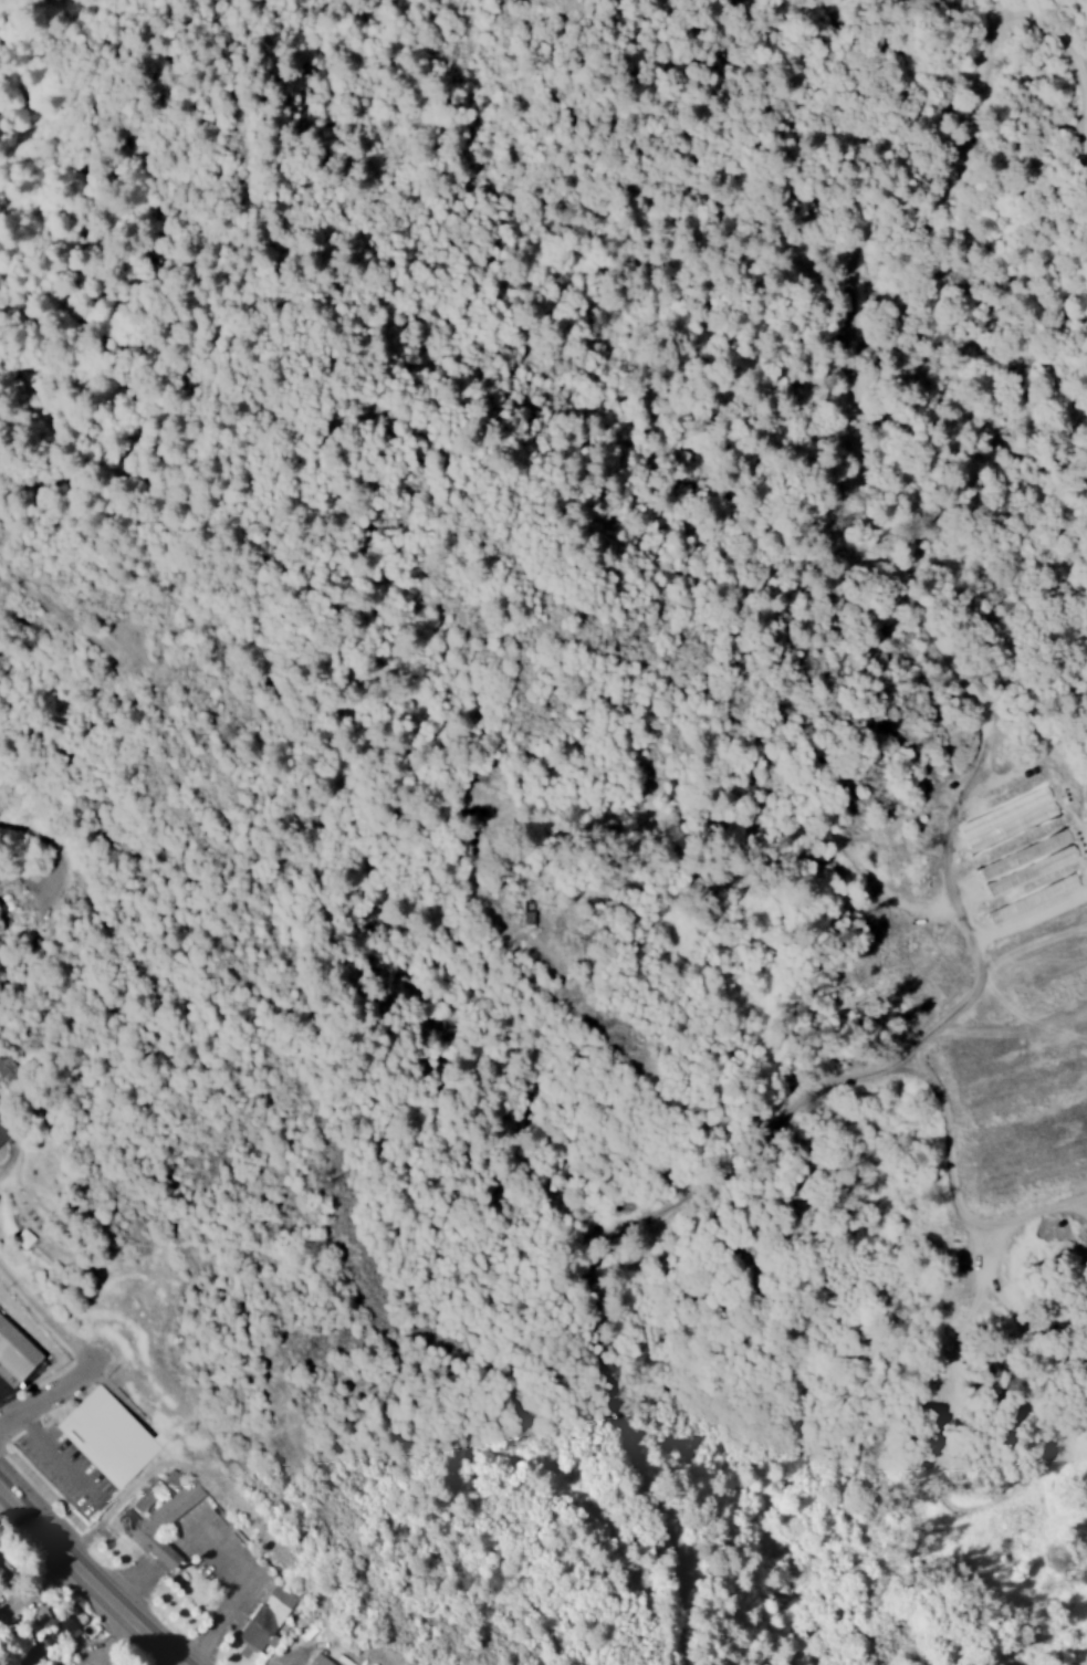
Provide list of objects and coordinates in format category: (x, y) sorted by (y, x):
building: (1033, 850)
building: (530, 919)
building: (0, 1142)
road: (20, 1158)
building: (18, 1349)
building: (109, 1436)
building: (144, 1500)
building: (168, 1504)
road: (90, 1578)
road: (32, 1588)
building: (266, 1615)
building: (322, 1658)

